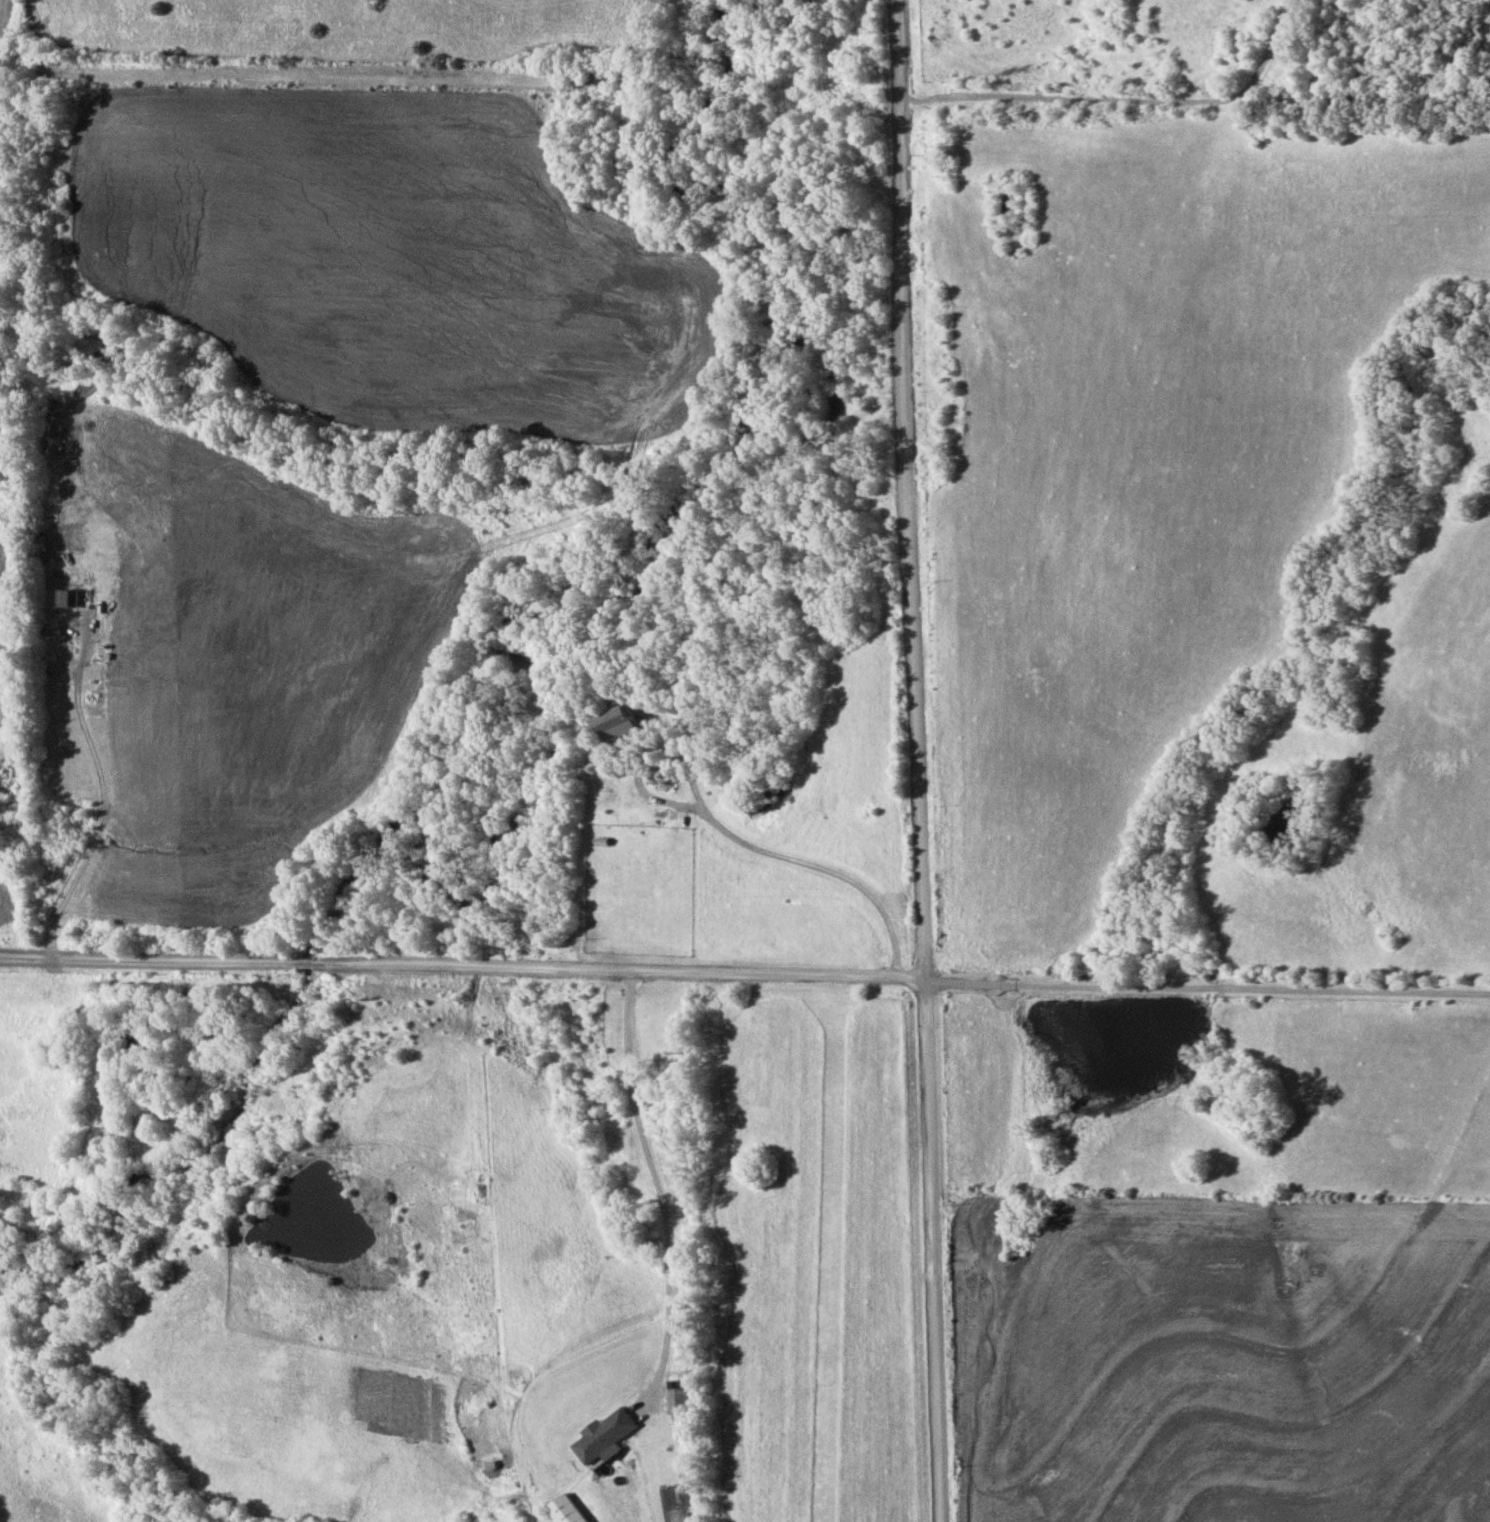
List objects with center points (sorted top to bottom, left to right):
road: (1123, 99)
building: (68, 598)
building: (622, 719)
road: (915, 761)
road: (105, 769)
road: (637, 775)
road: (817, 868)
road: (460, 967)
road: (1205, 988)
road: (642, 1155)
building: (682, 1400)
building: (608, 1437)
road: (560, 1438)
building: (569, 1509)

